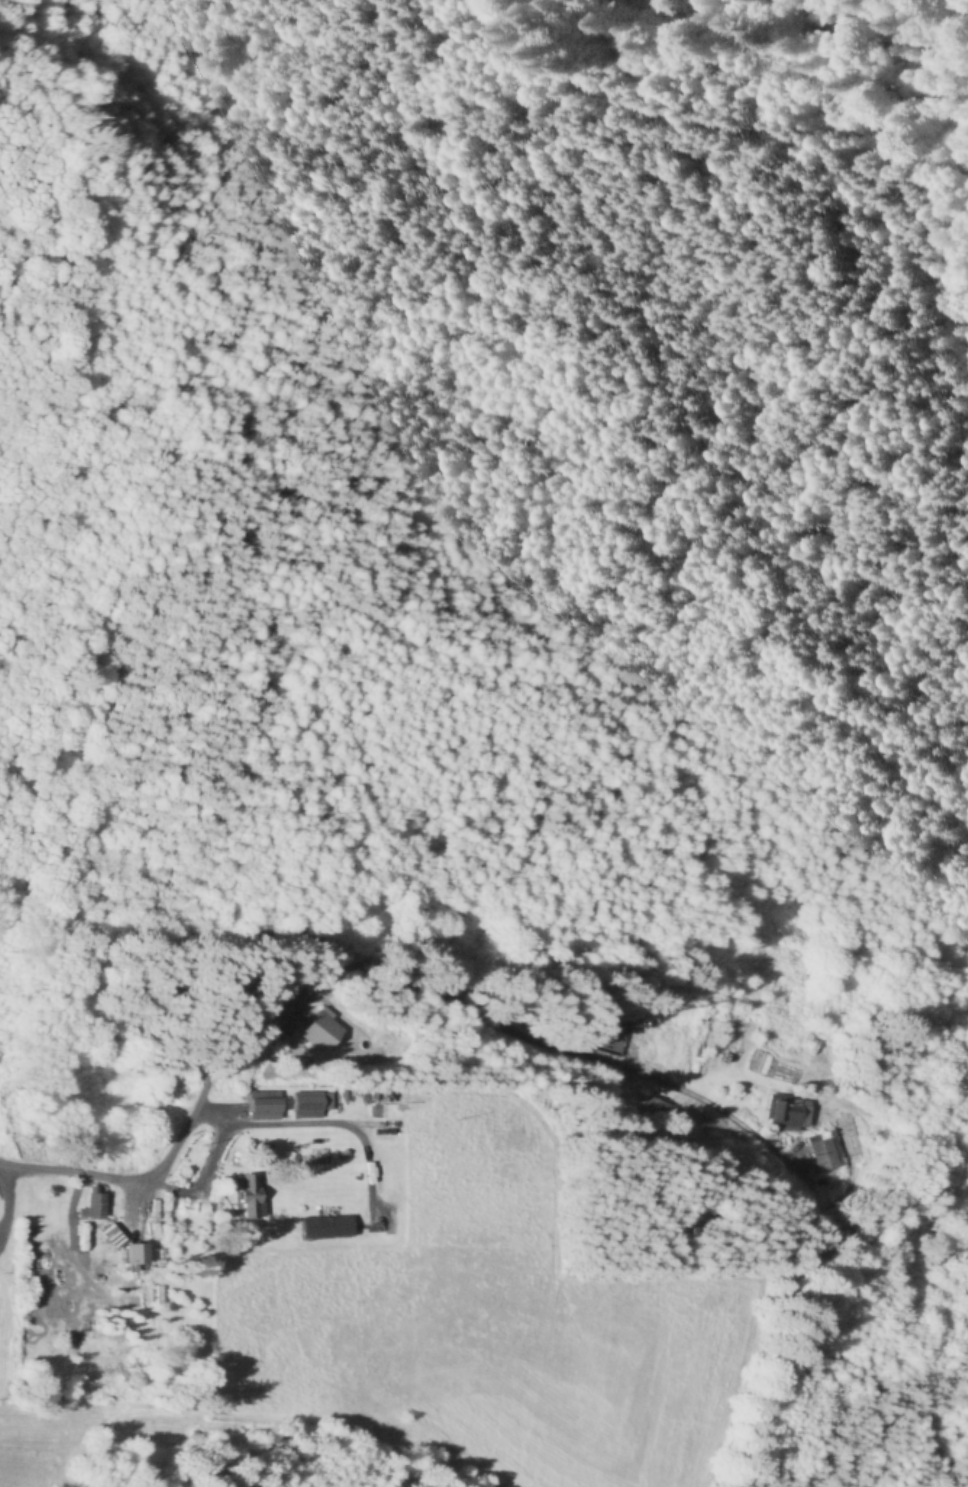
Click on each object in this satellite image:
building: (328, 1034)
building: (268, 1106)
building: (654, 1108)
building: (791, 1112)
road: (199, 1120)
building: (821, 1154)
building: (251, 1202)
building: (326, 1228)
building: (116, 1233)
building: (153, 1295)

